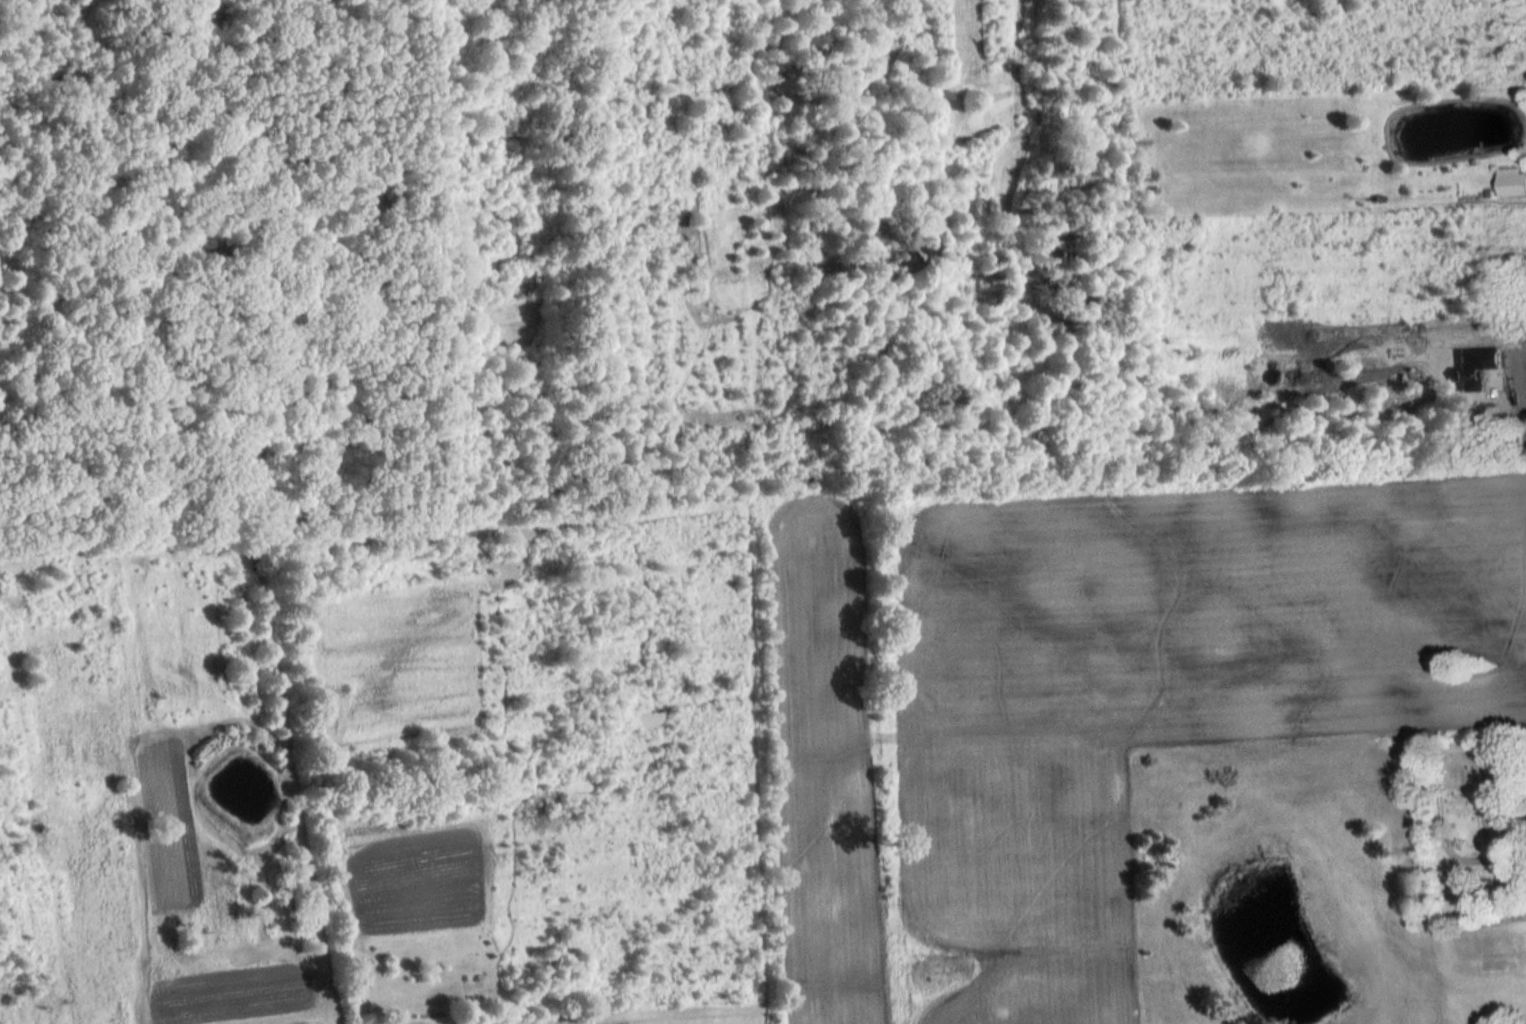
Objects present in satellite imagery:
building: (1512, 182)

